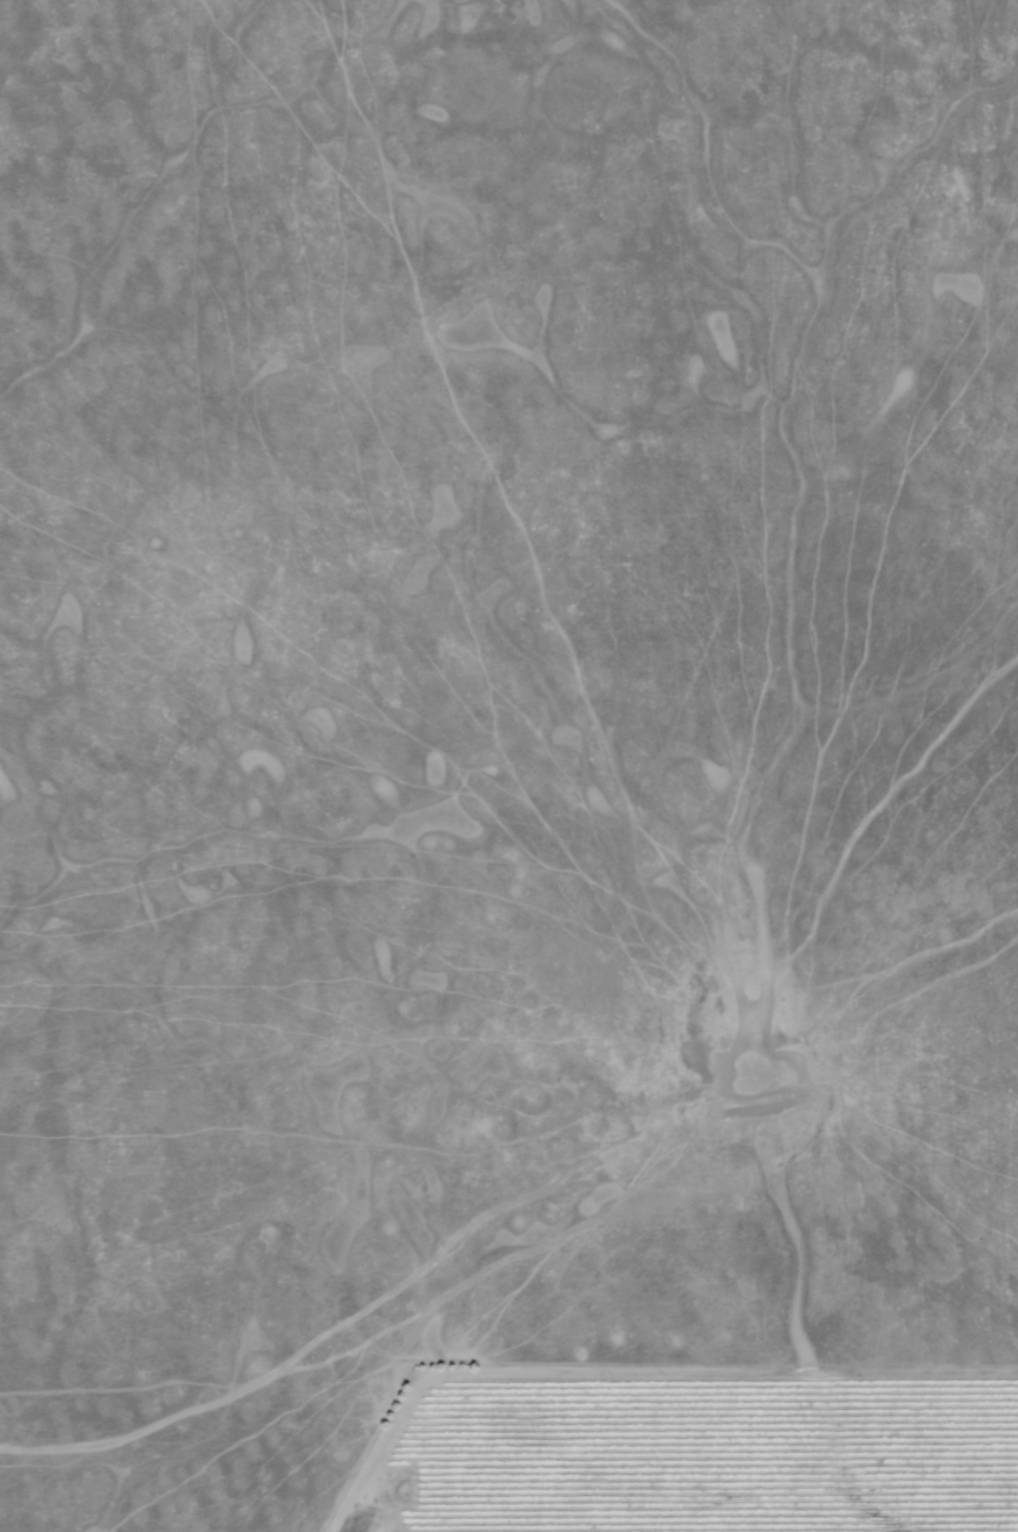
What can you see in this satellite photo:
crop: (685, 1447)

